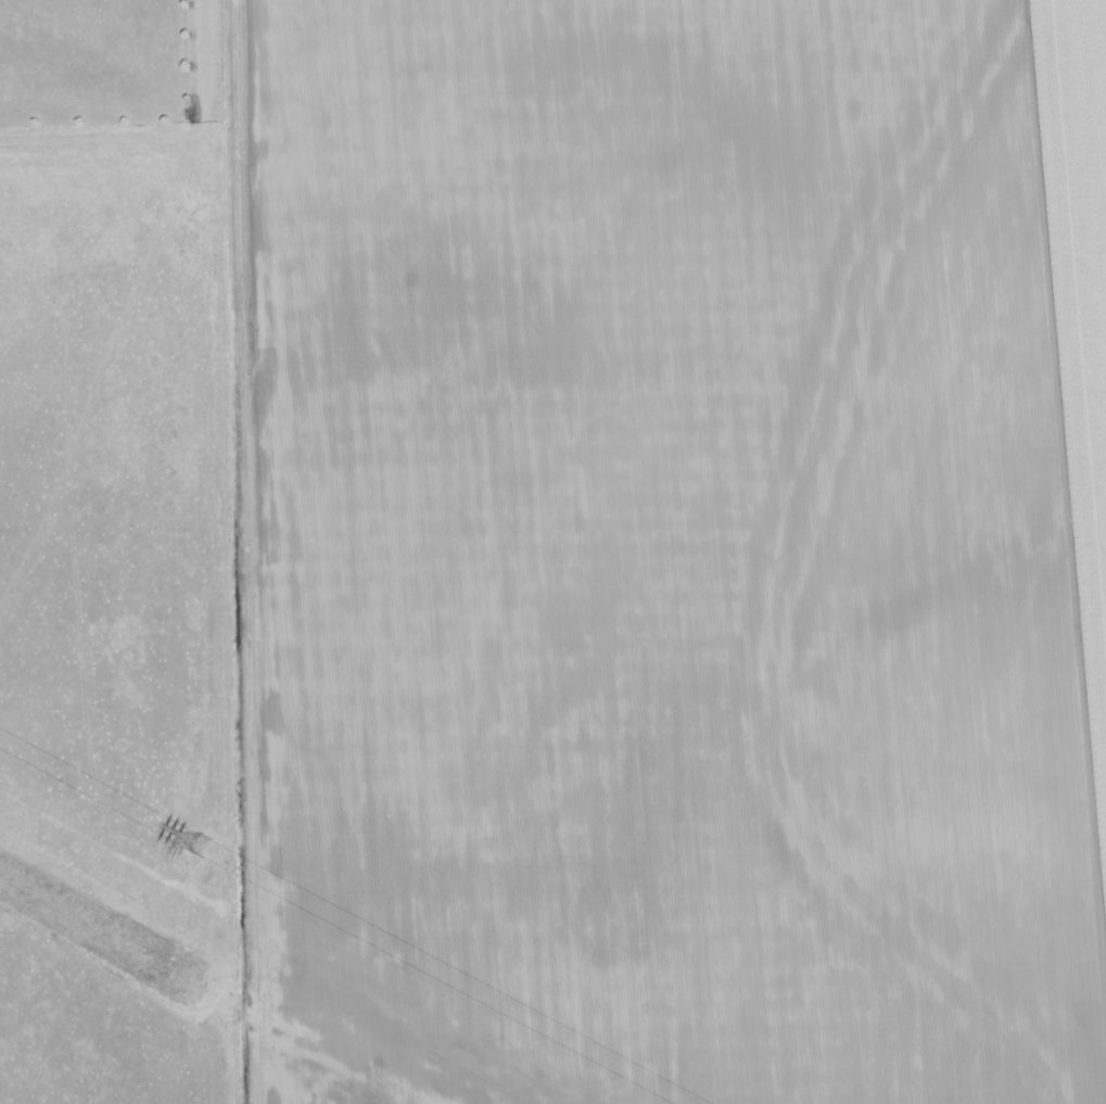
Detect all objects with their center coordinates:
power tower: (198, 846)

